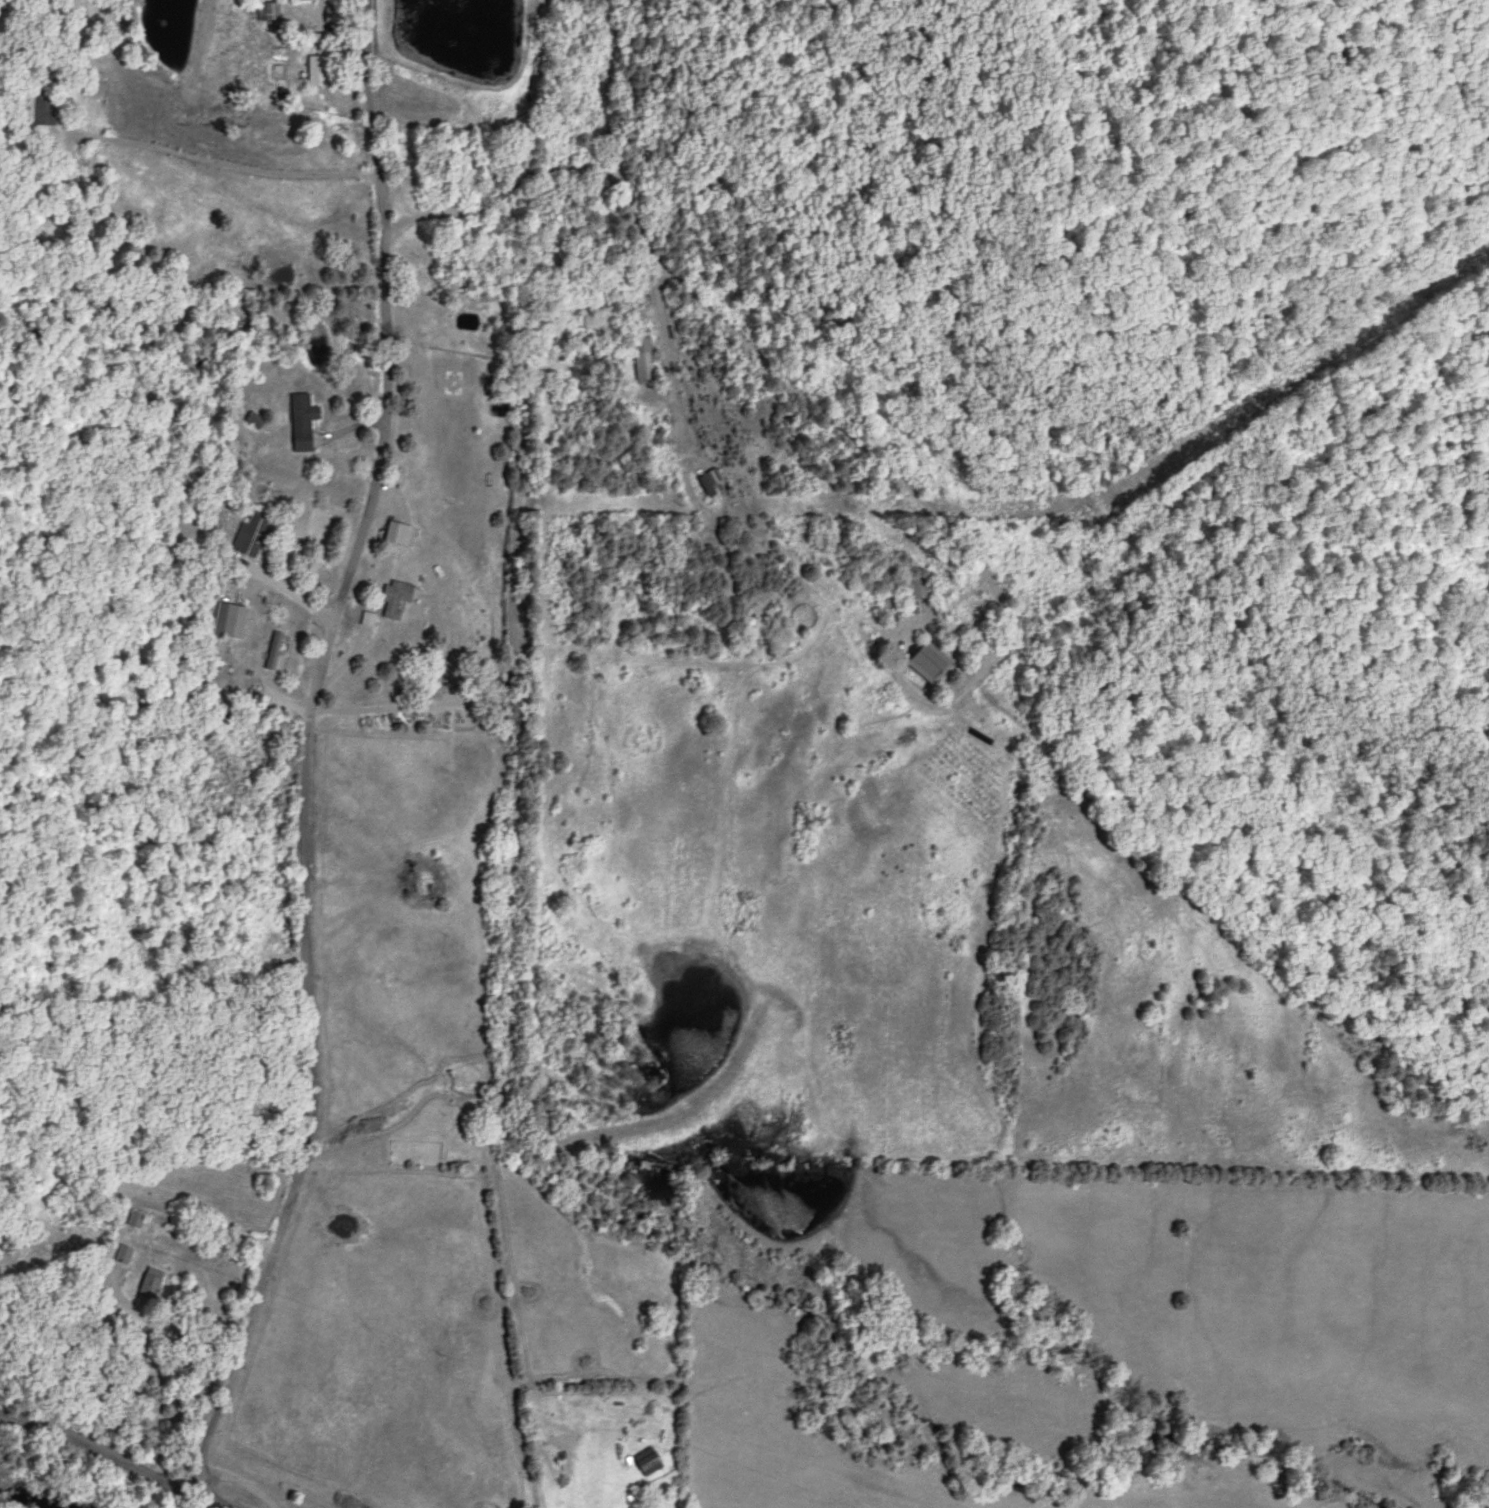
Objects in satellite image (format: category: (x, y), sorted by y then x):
building: (299, 0)
building: (268, 11)
building: (317, 70)
building: (45, 108)
road: (495, 109)
road: (653, 272)
building: (643, 360)
building: (254, 420)
building: (303, 421)
building: (252, 533)
building: (398, 533)
building: (919, 588)
building: (396, 598)
building: (234, 621)
building: (274, 650)
building: (930, 661)
road: (274, 822)
building: (135, 1219)
building: (123, 1254)
building: (150, 1287)
road: (98, 1469)
road: (214, 1500)

